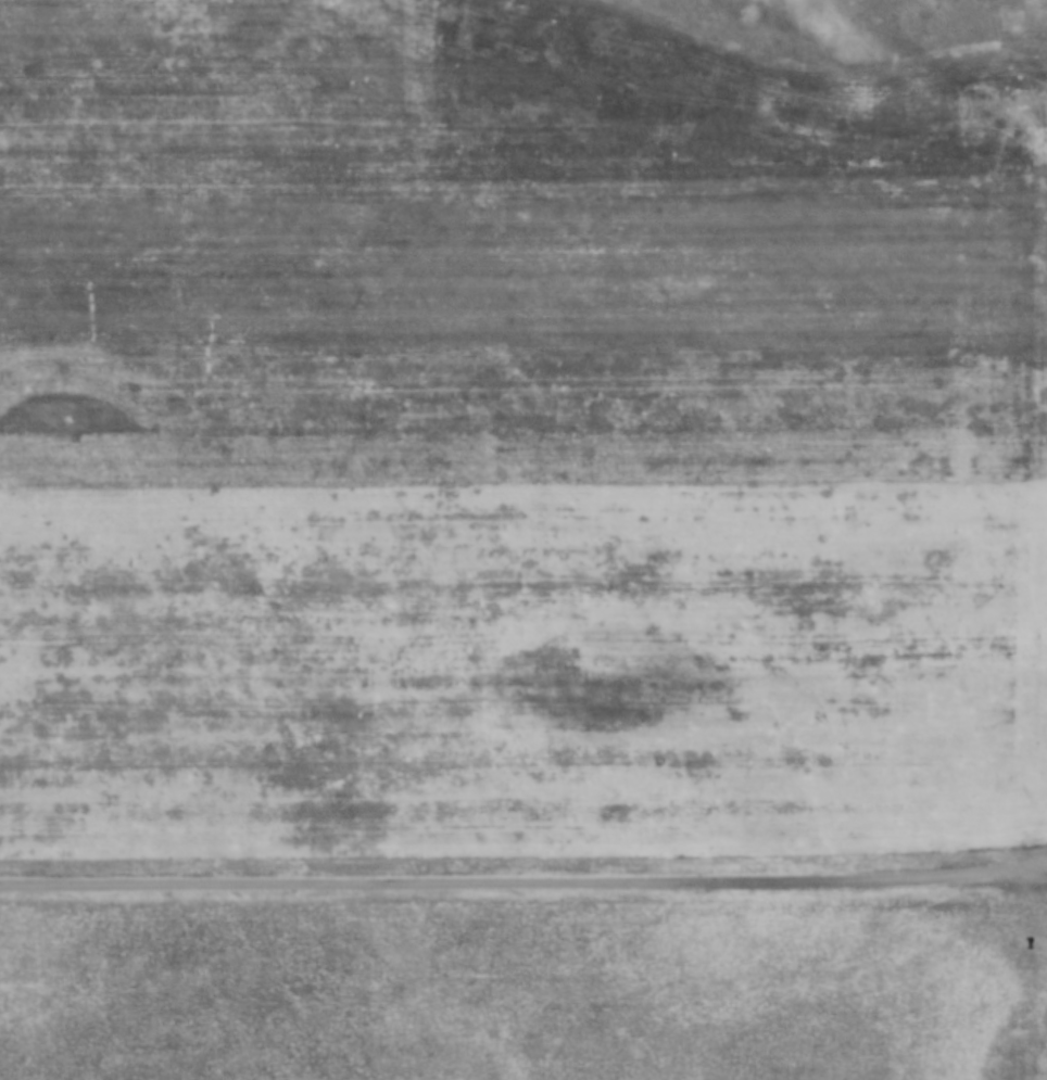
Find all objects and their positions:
road: (523, 878)

